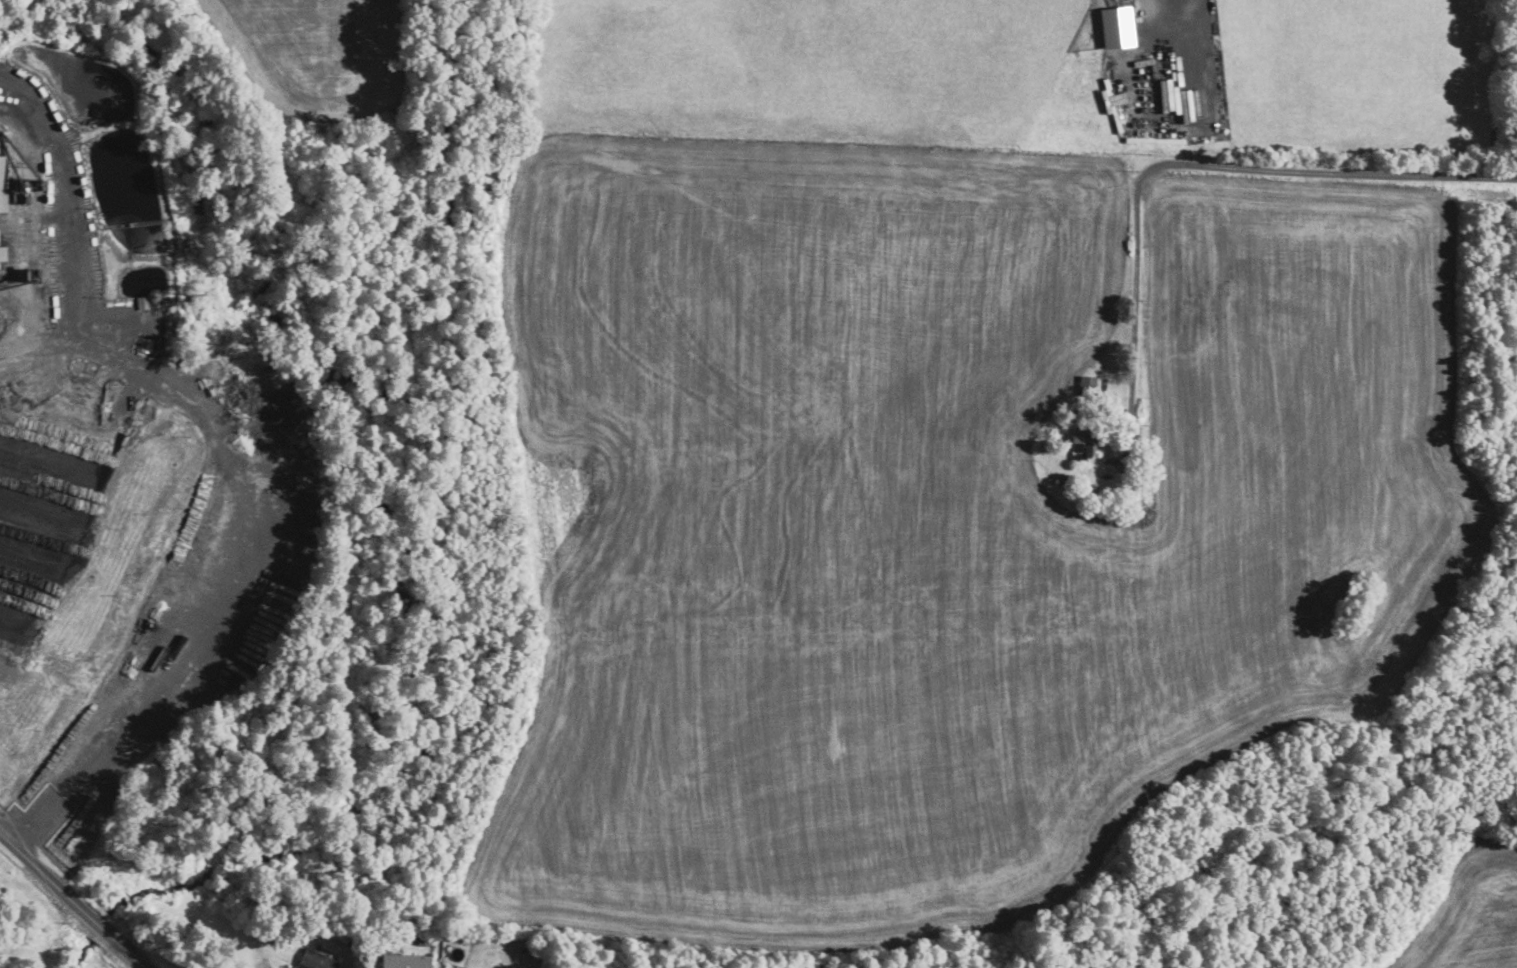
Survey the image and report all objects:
building: (1117, 26)
building: (1117, 98)
road: (1190, 164)
road: (66, 195)
building: (3, 202)
building: (2, 251)
building: (1087, 383)
building: (1089, 445)
road: (254, 551)
road: (71, 900)
building: (312, 959)
building: (405, 961)

